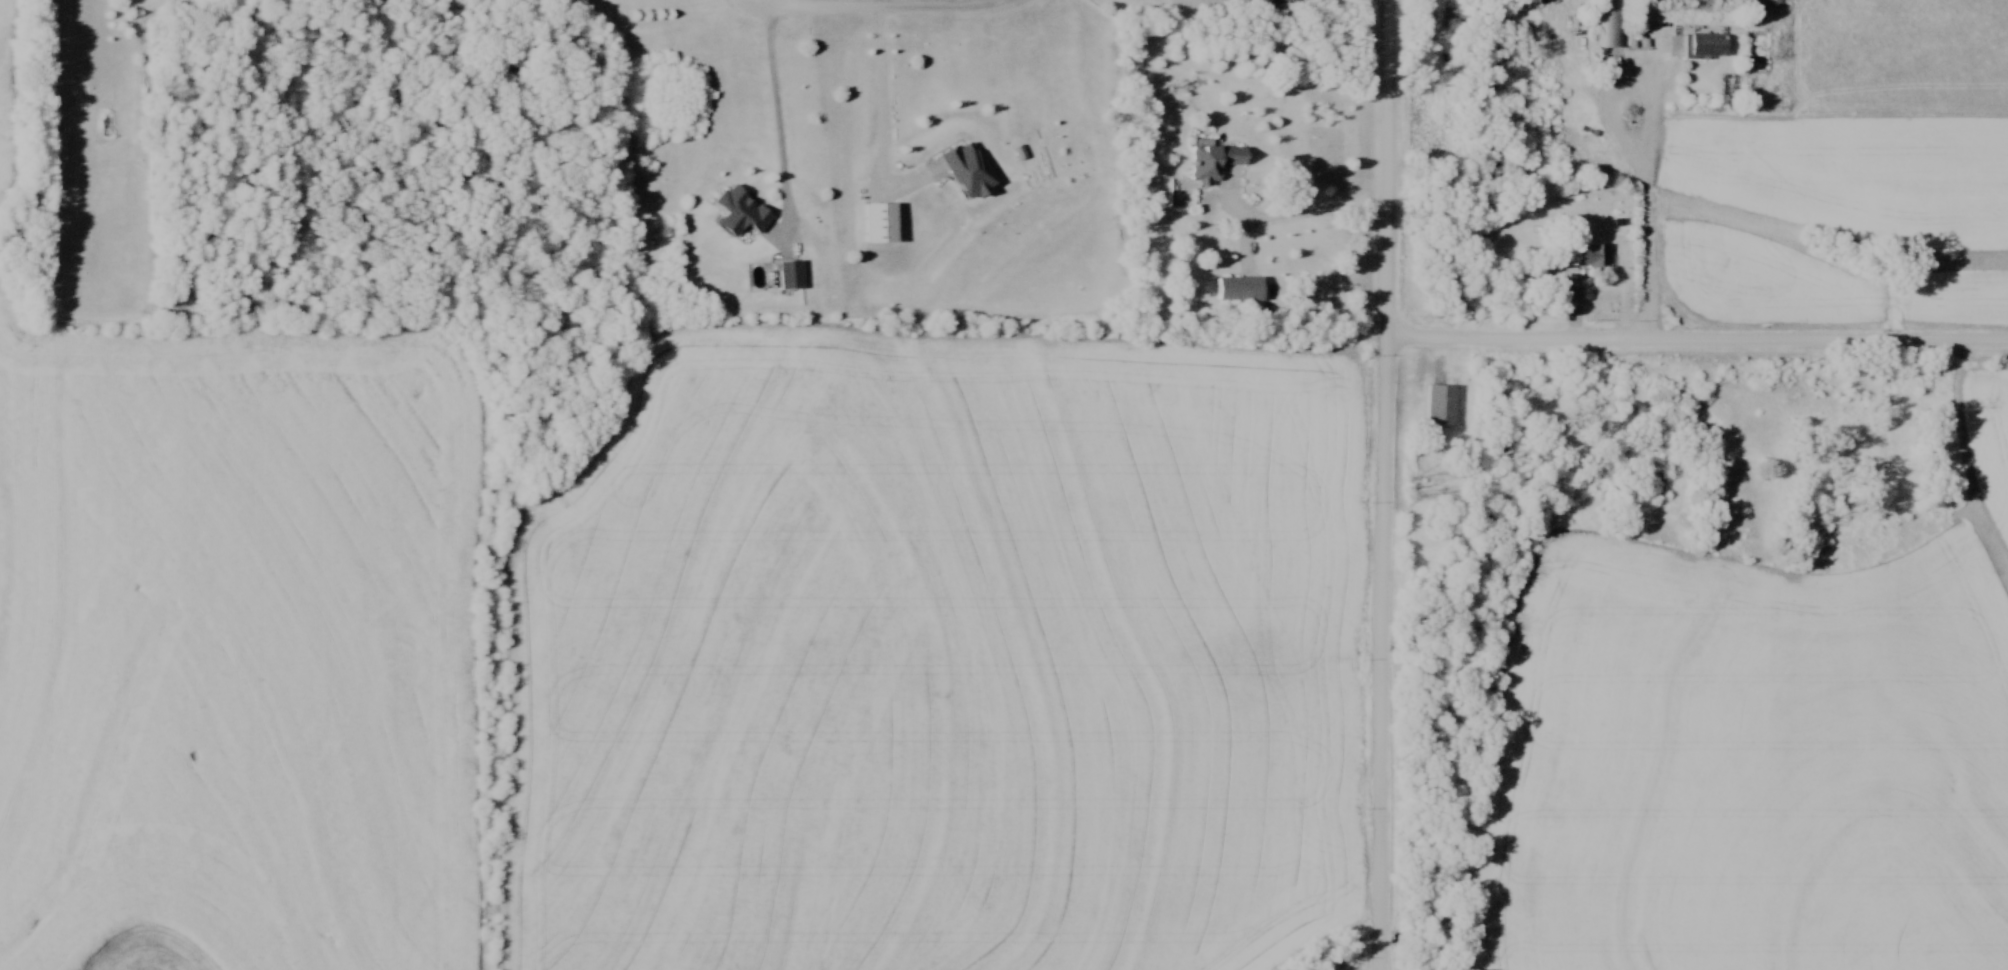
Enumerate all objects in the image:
building: (1289, 0)
road: (1205, 3)
building: (1769, 3)
road: (894, 6)
building: (1453, 14)
building: (1608, 24)
building: (1707, 47)
road: (881, 109)
road: (775, 116)
building: (1217, 163)
road: (1388, 169)
building: (972, 173)
road: (1643, 196)
building: (743, 211)
road: (1299, 220)
building: (1594, 254)
building: (791, 275)
building: (1242, 290)
road: (1698, 340)
building: (1442, 404)
road: (1381, 653)

